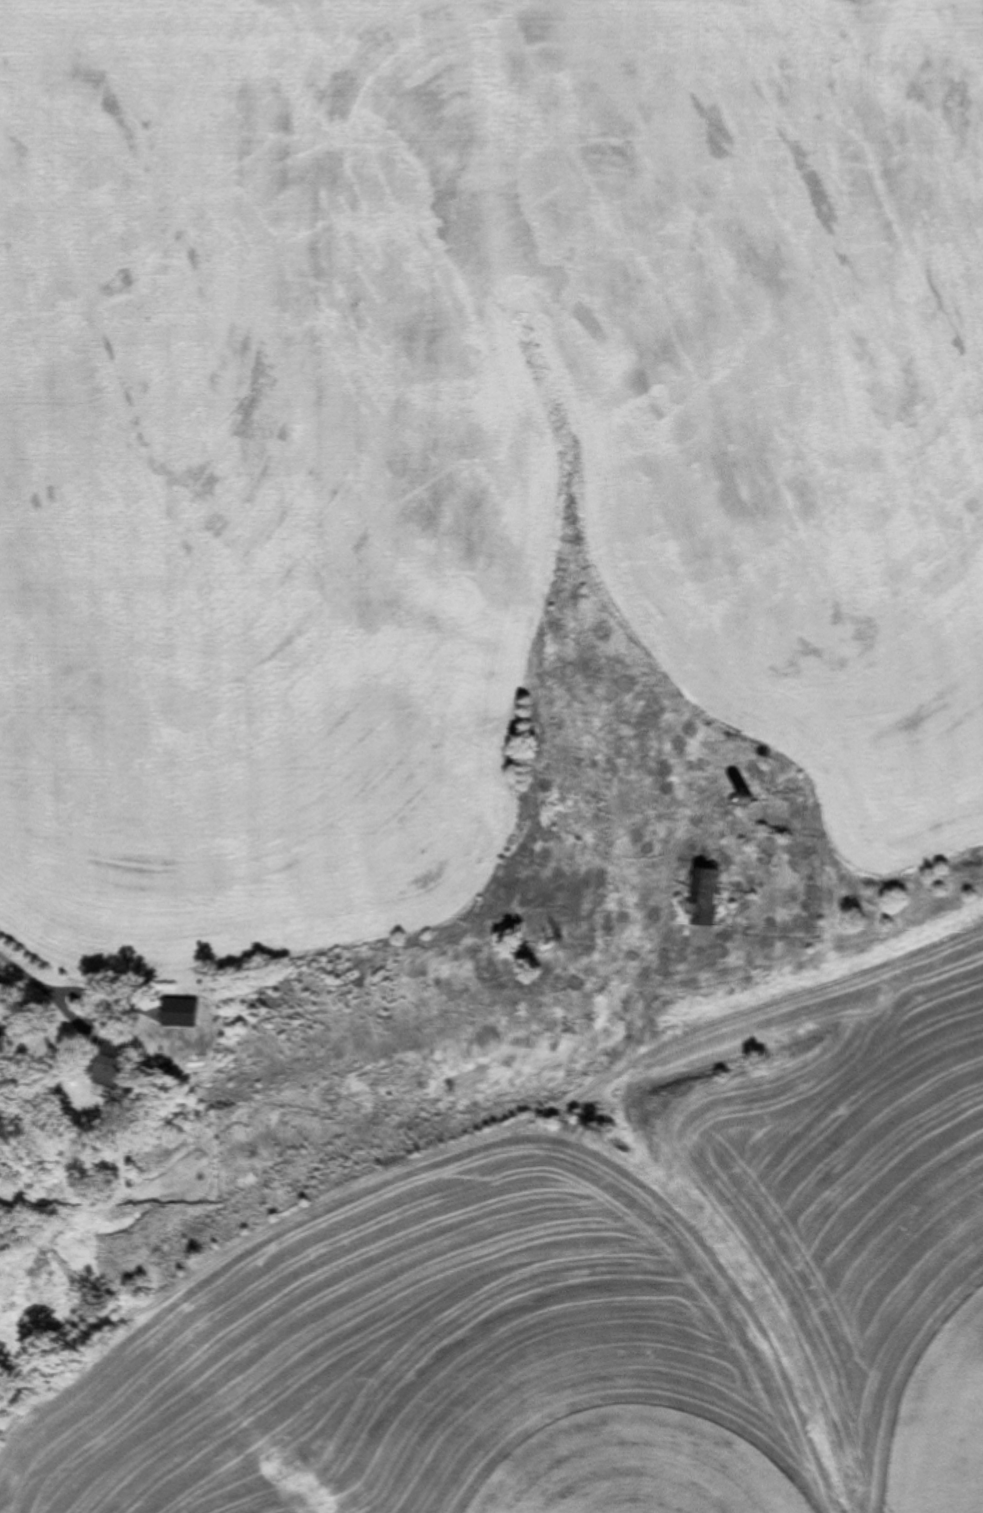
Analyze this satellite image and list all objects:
building: (720, 896)
building: (188, 1014)

